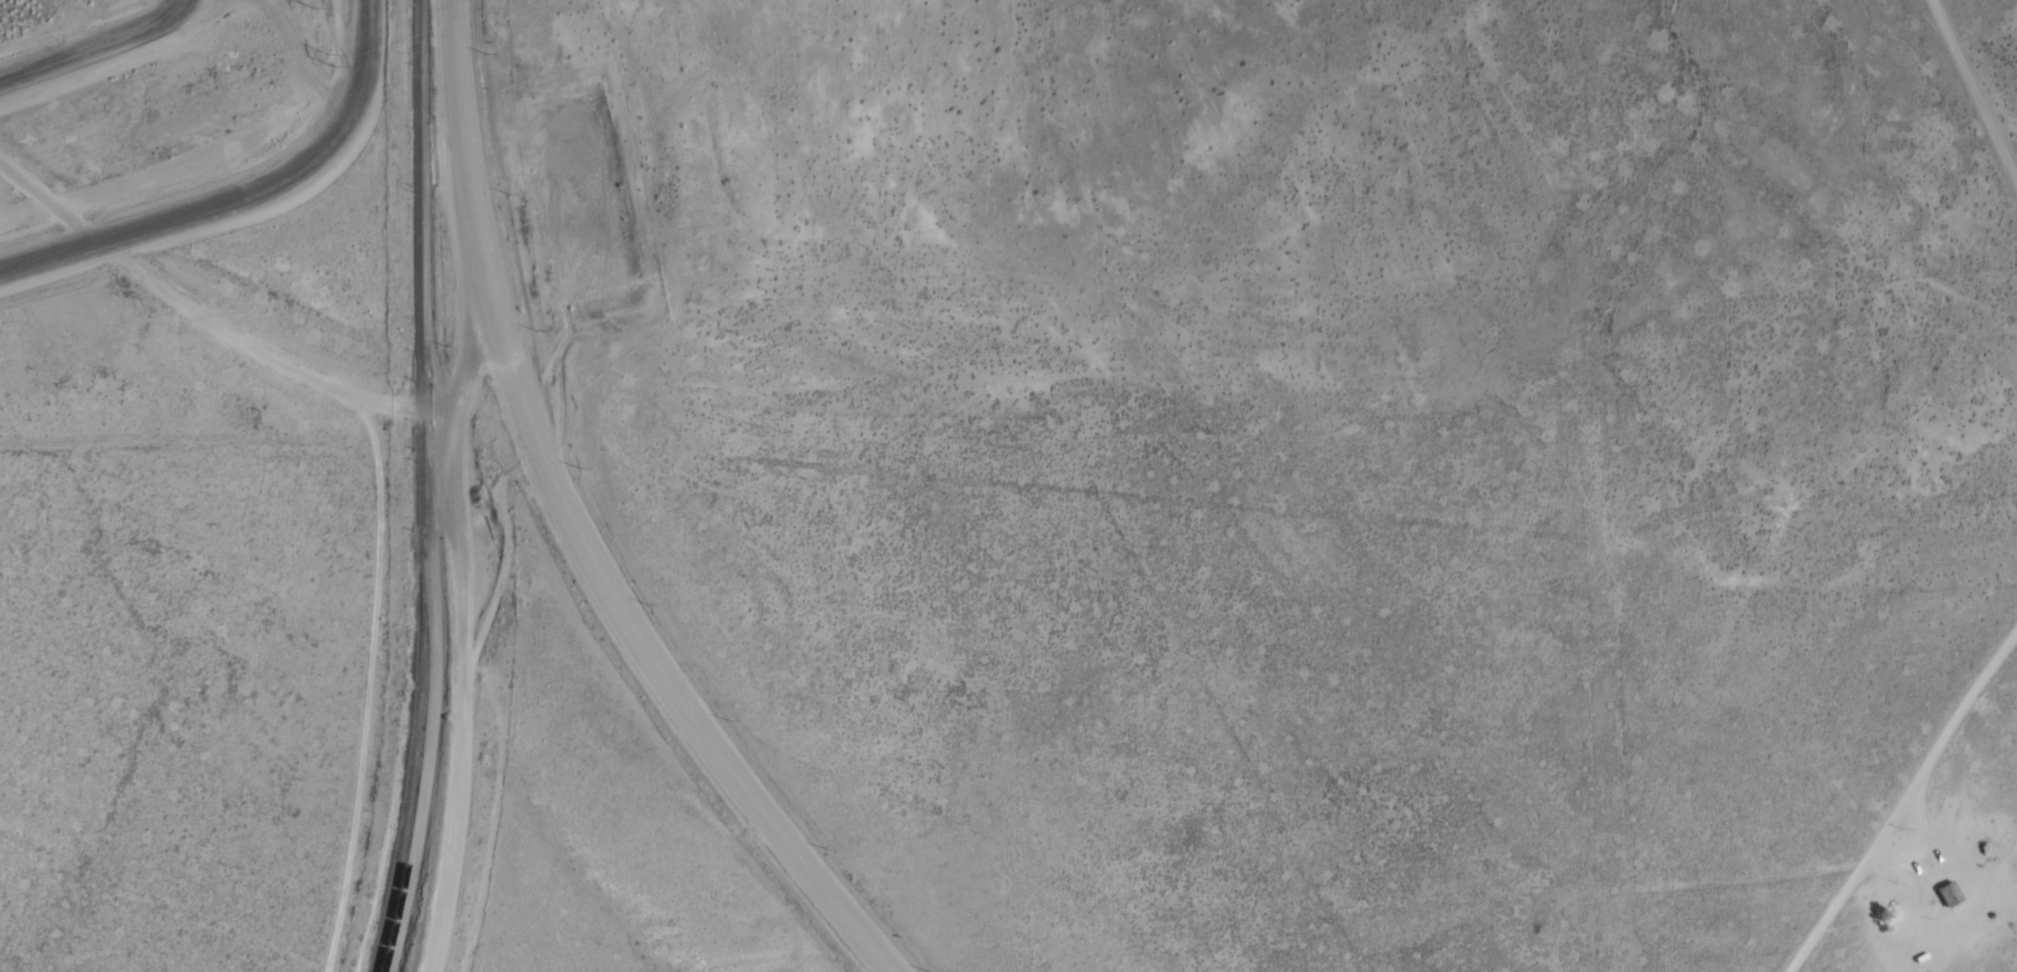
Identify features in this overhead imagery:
power plant: (32, 10)
road: (94, 45)
power tower: (336, 55)
road: (1973, 85)
road: (163, 286)
road: (510, 372)
road: (442, 406)
railway: (417, 488)
road: (1869, 583)
road: (368, 676)
railway: (422, 709)
road: (1906, 800)
road: (766, 846)
building: (1950, 895)
road: (1927, 910)

